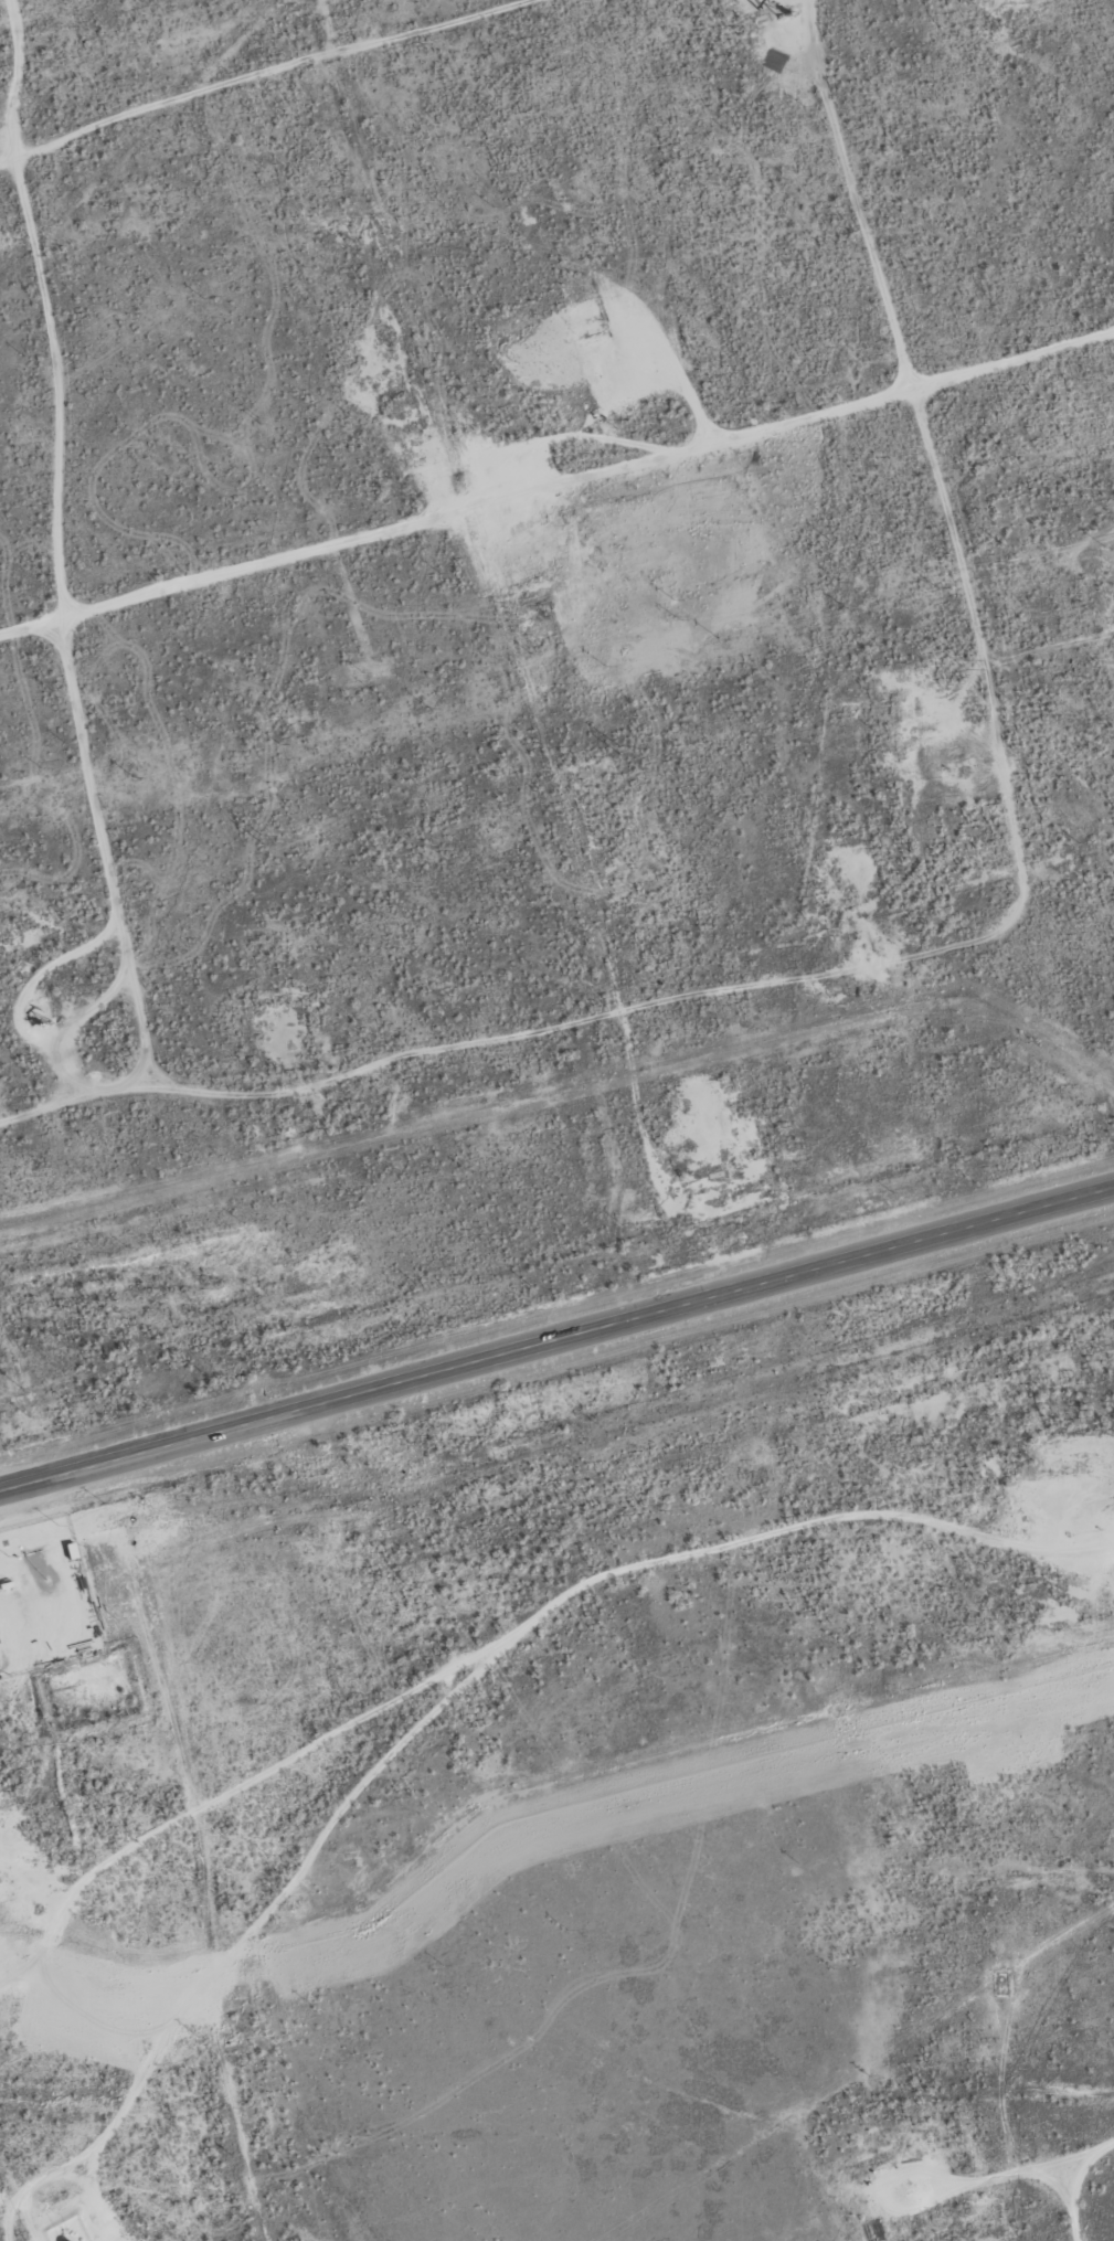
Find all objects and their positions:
power tower: (965, 667)
power tower: (619, 752)
power tower: (261, 841)
road: (556, 1337)

